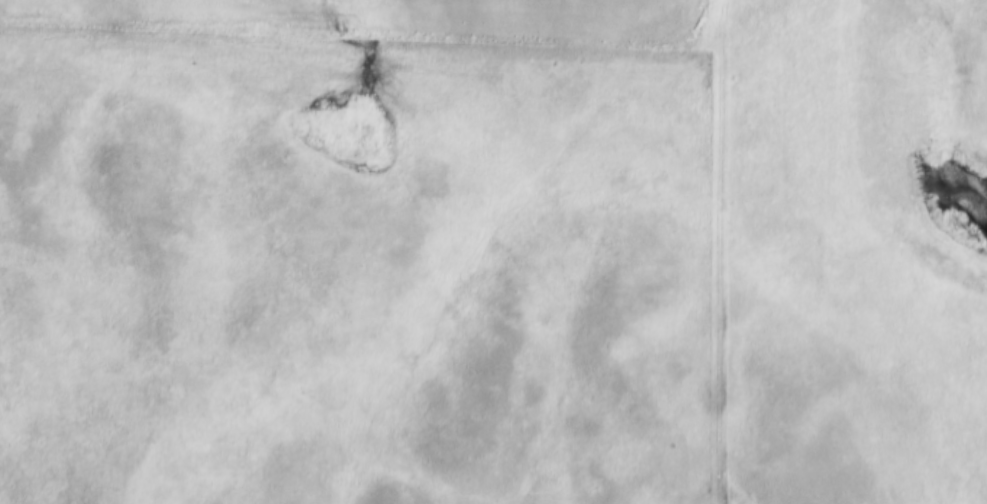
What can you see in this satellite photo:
road: (720, 252)

